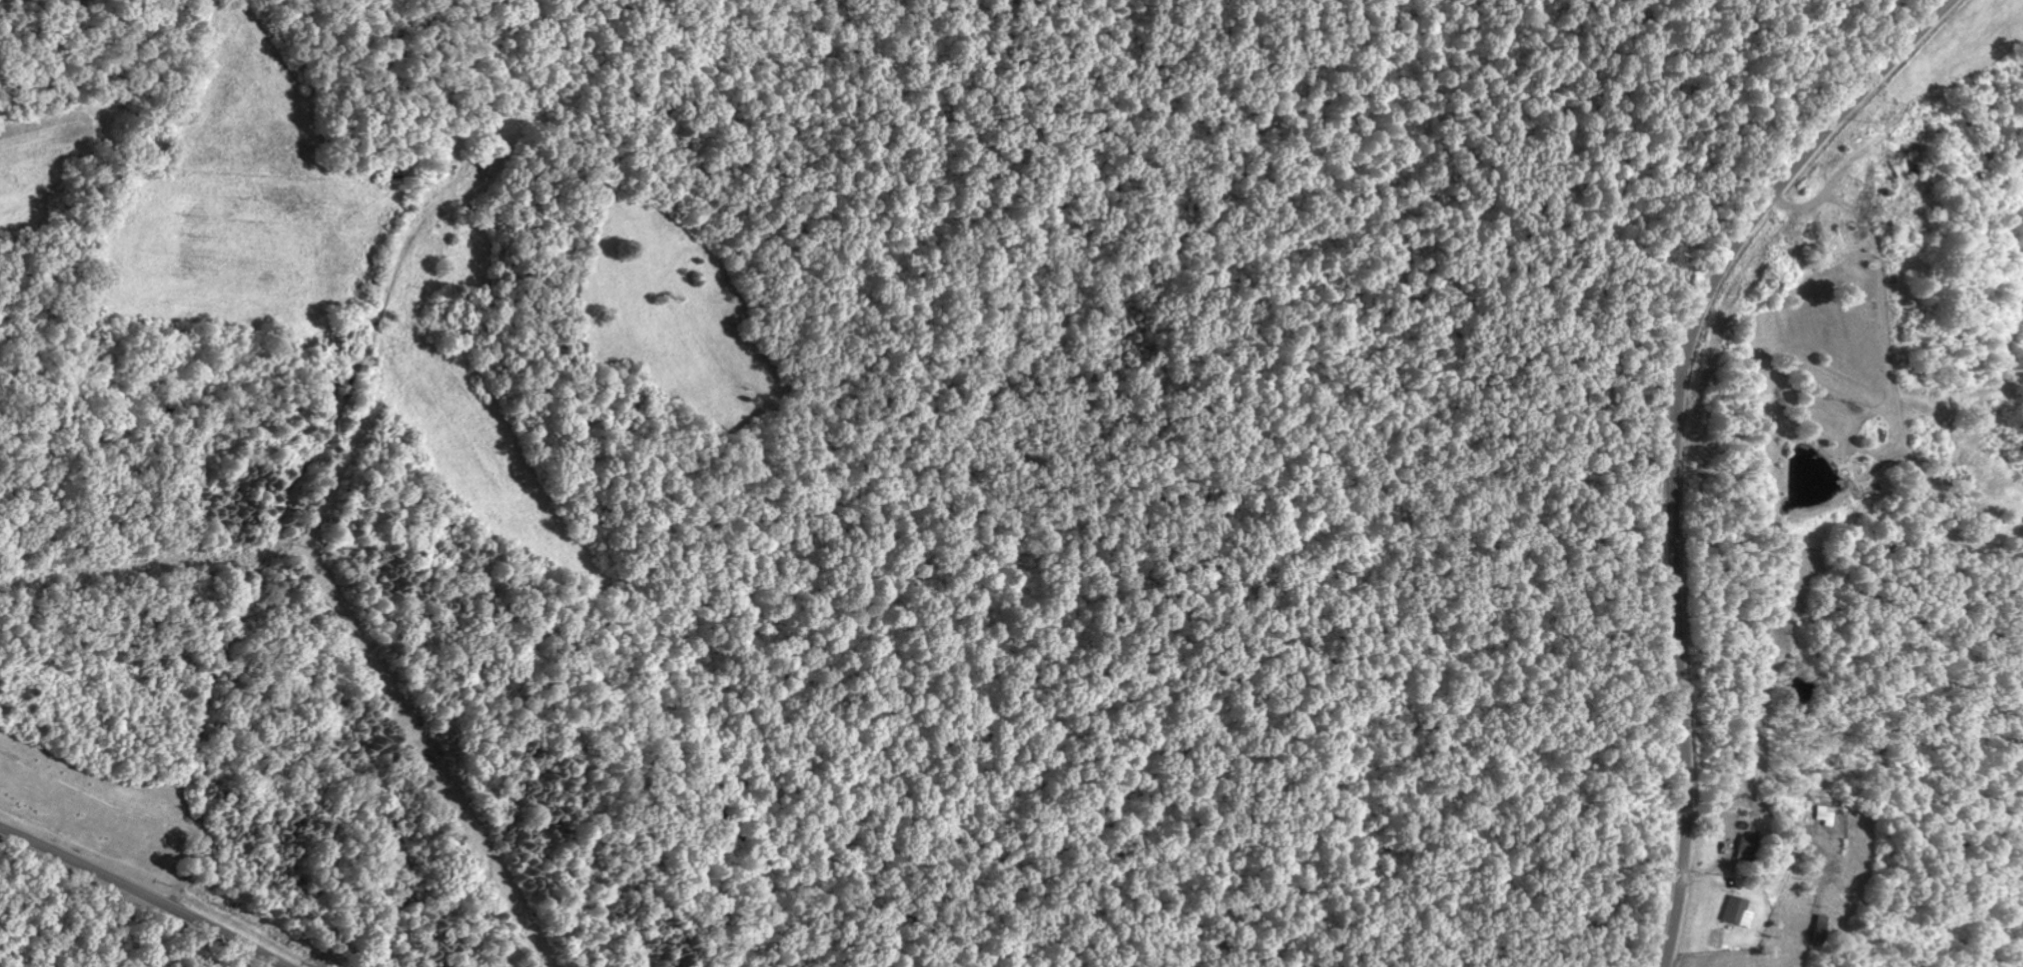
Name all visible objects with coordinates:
building: (1869, 187)
building: (1813, 230)
building: (1798, 235)
road: (1679, 439)
park: (49, 780)
building: (1823, 814)
building: (1744, 849)
road: (143, 893)
building: (1735, 911)
building: (1819, 929)

